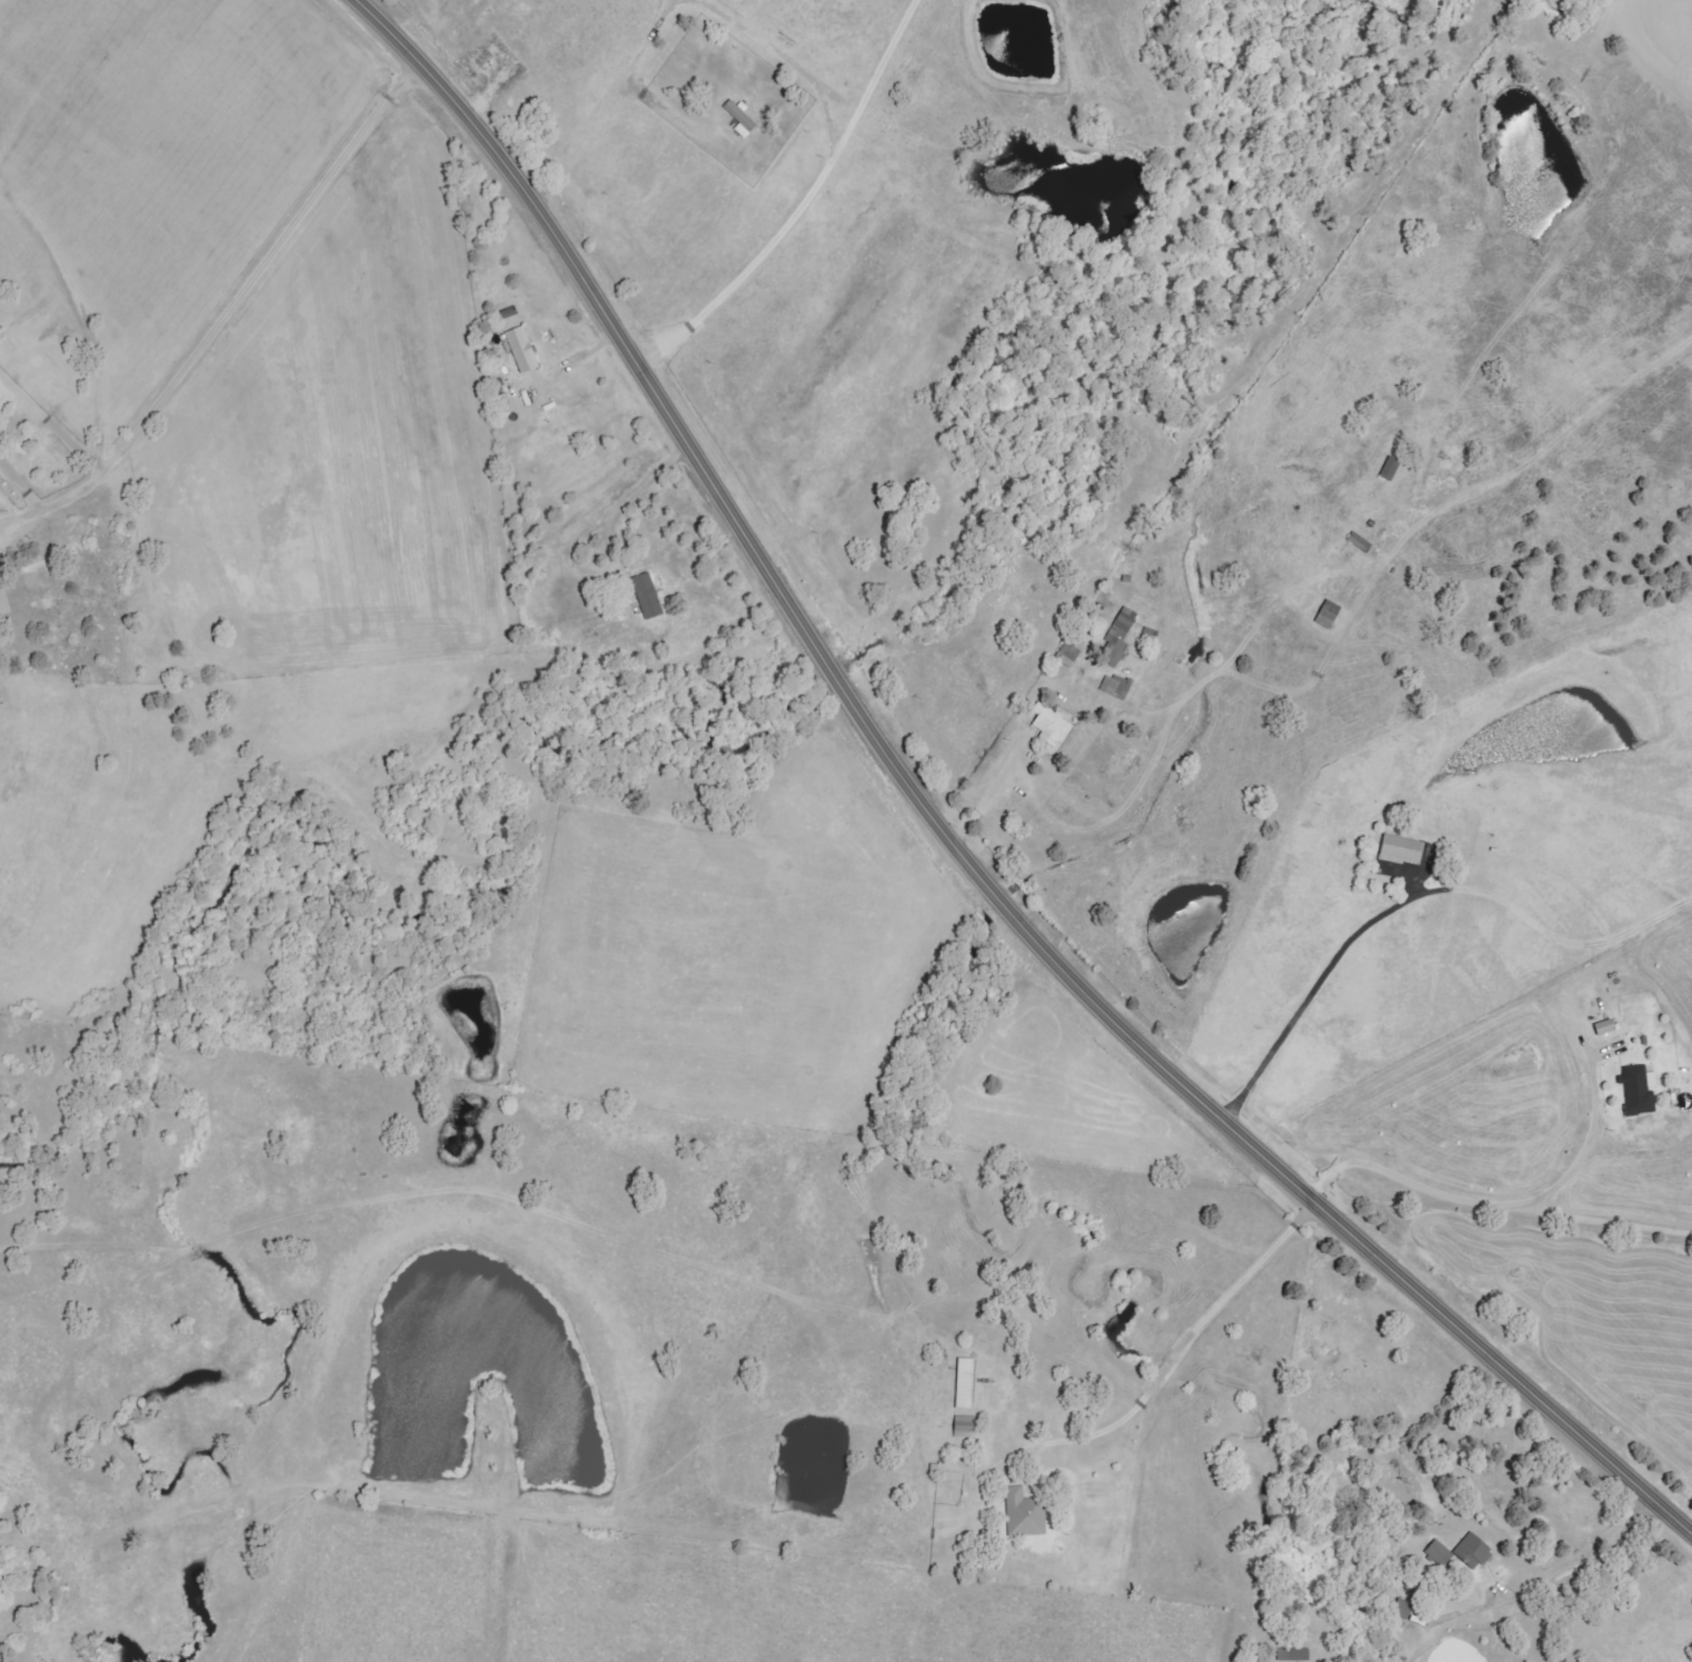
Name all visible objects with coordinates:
road: (606, 107)
building: (740, 118)
road: (238, 288)
building: (521, 349)
road: (87, 477)
building: (646, 596)
building: (1119, 636)
building: (1068, 654)
building: (1115, 687)
building: (1051, 725)
road: (989, 796)
road: (945, 835)
building: (1401, 848)
road: (1314, 984)
building: (1639, 1091)
road: (1502, 1208)
road: (1157, 1375)
building: (965, 1384)
building: (964, 1427)
building: (955, 1470)
building: (1025, 1514)
building: (1473, 1552)
building: (1439, 1554)
road: (1551, 1584)
building: (1402, 1609)
building: (1293, 1655)

